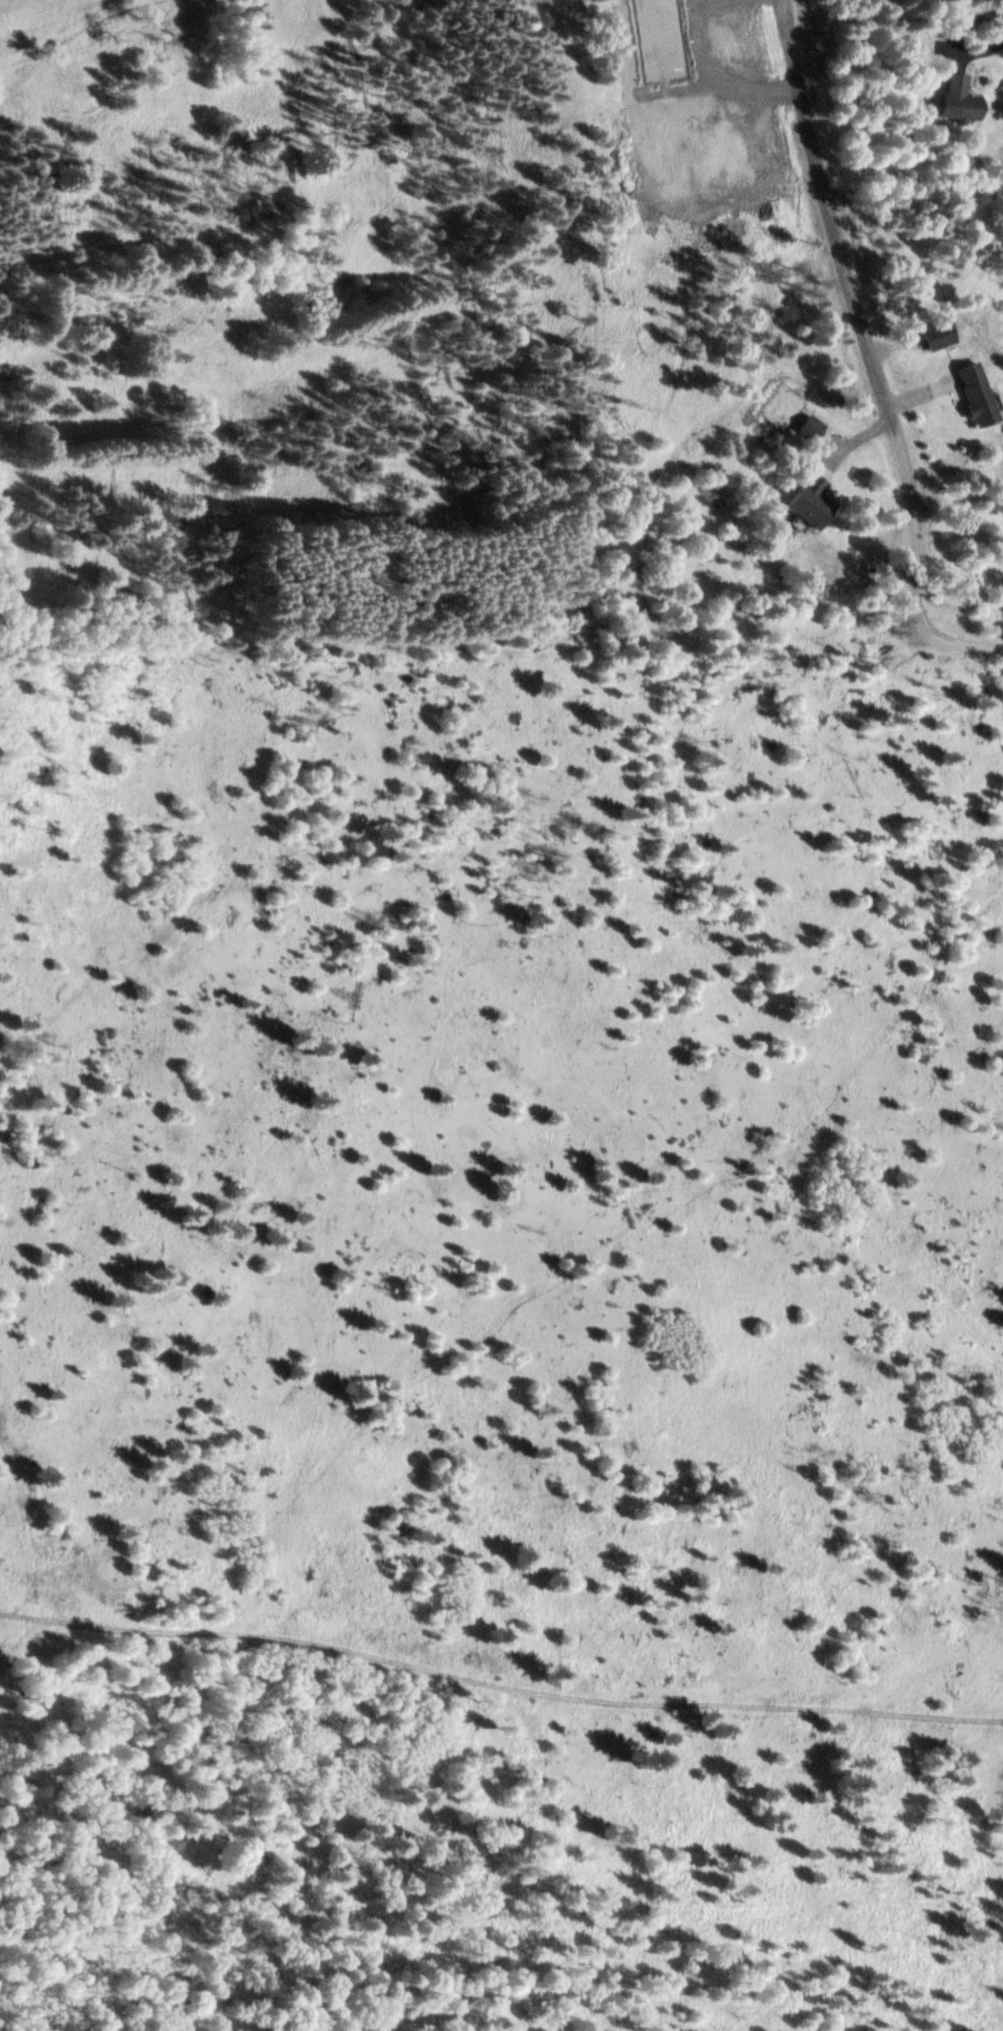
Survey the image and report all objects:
building: (953, 101)
road: (839, 232)
building: (931, 338)
building: (968, 398)
building: (804, 429)
building: (804, 502)

